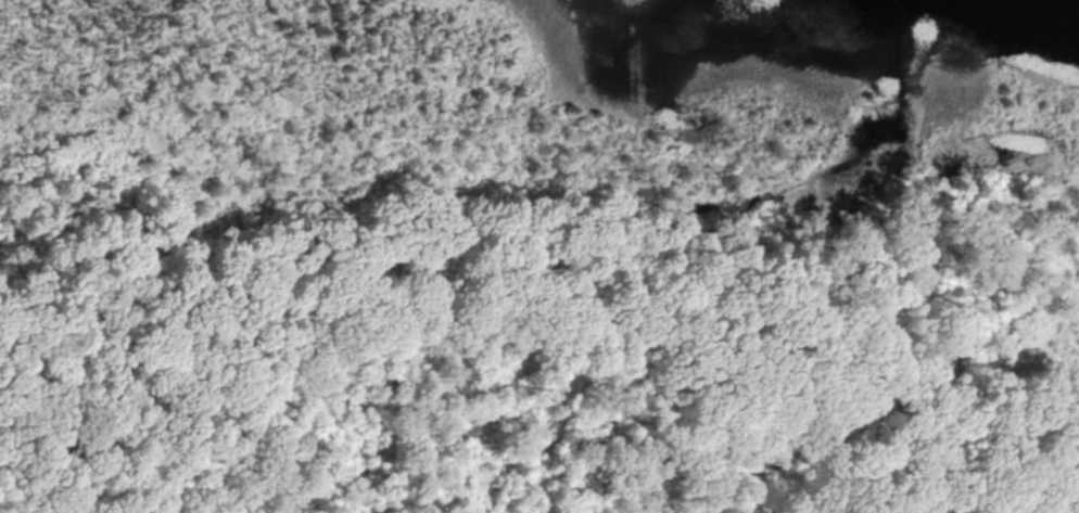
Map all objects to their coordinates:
park: (539, 256)

